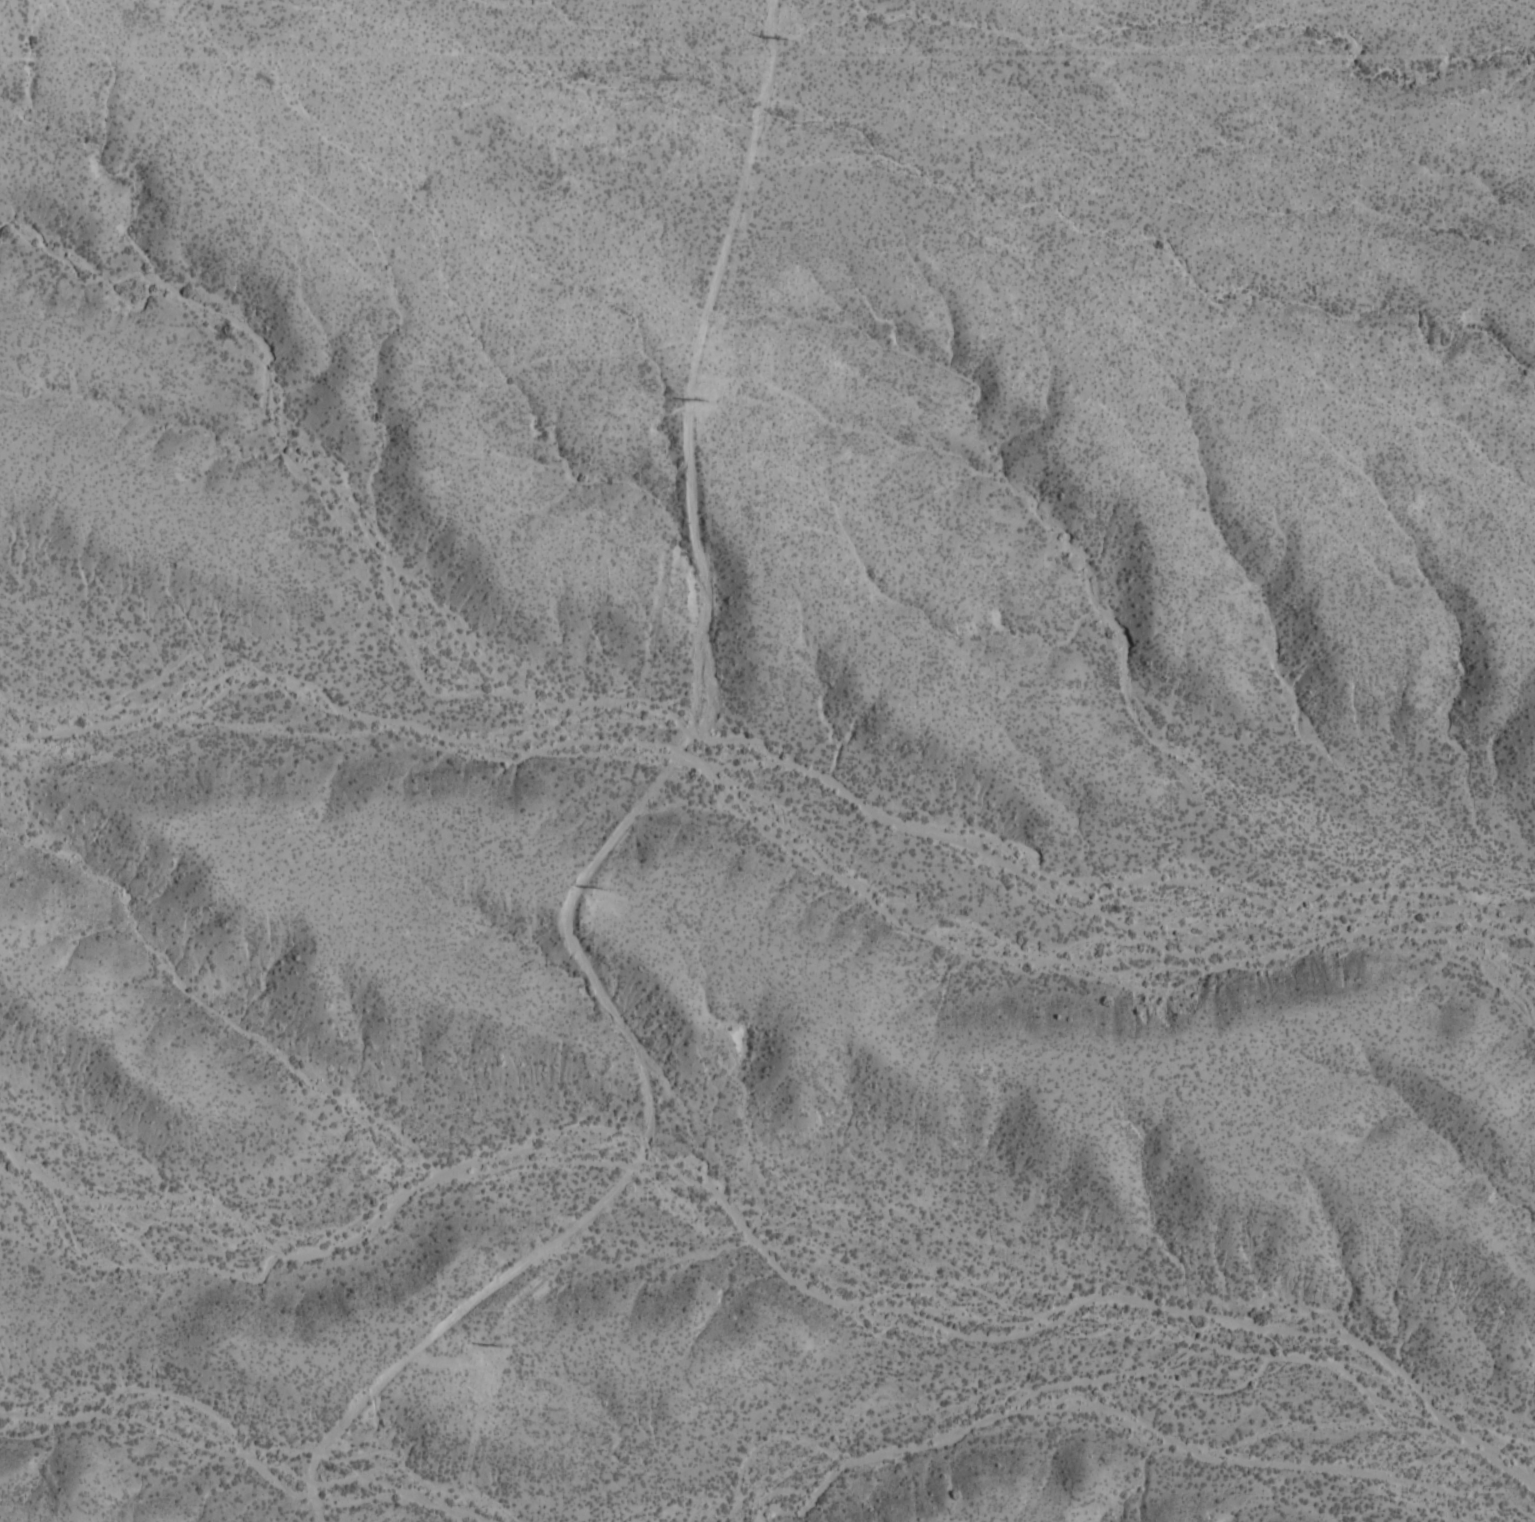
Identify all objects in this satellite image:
road: (619, 834)

